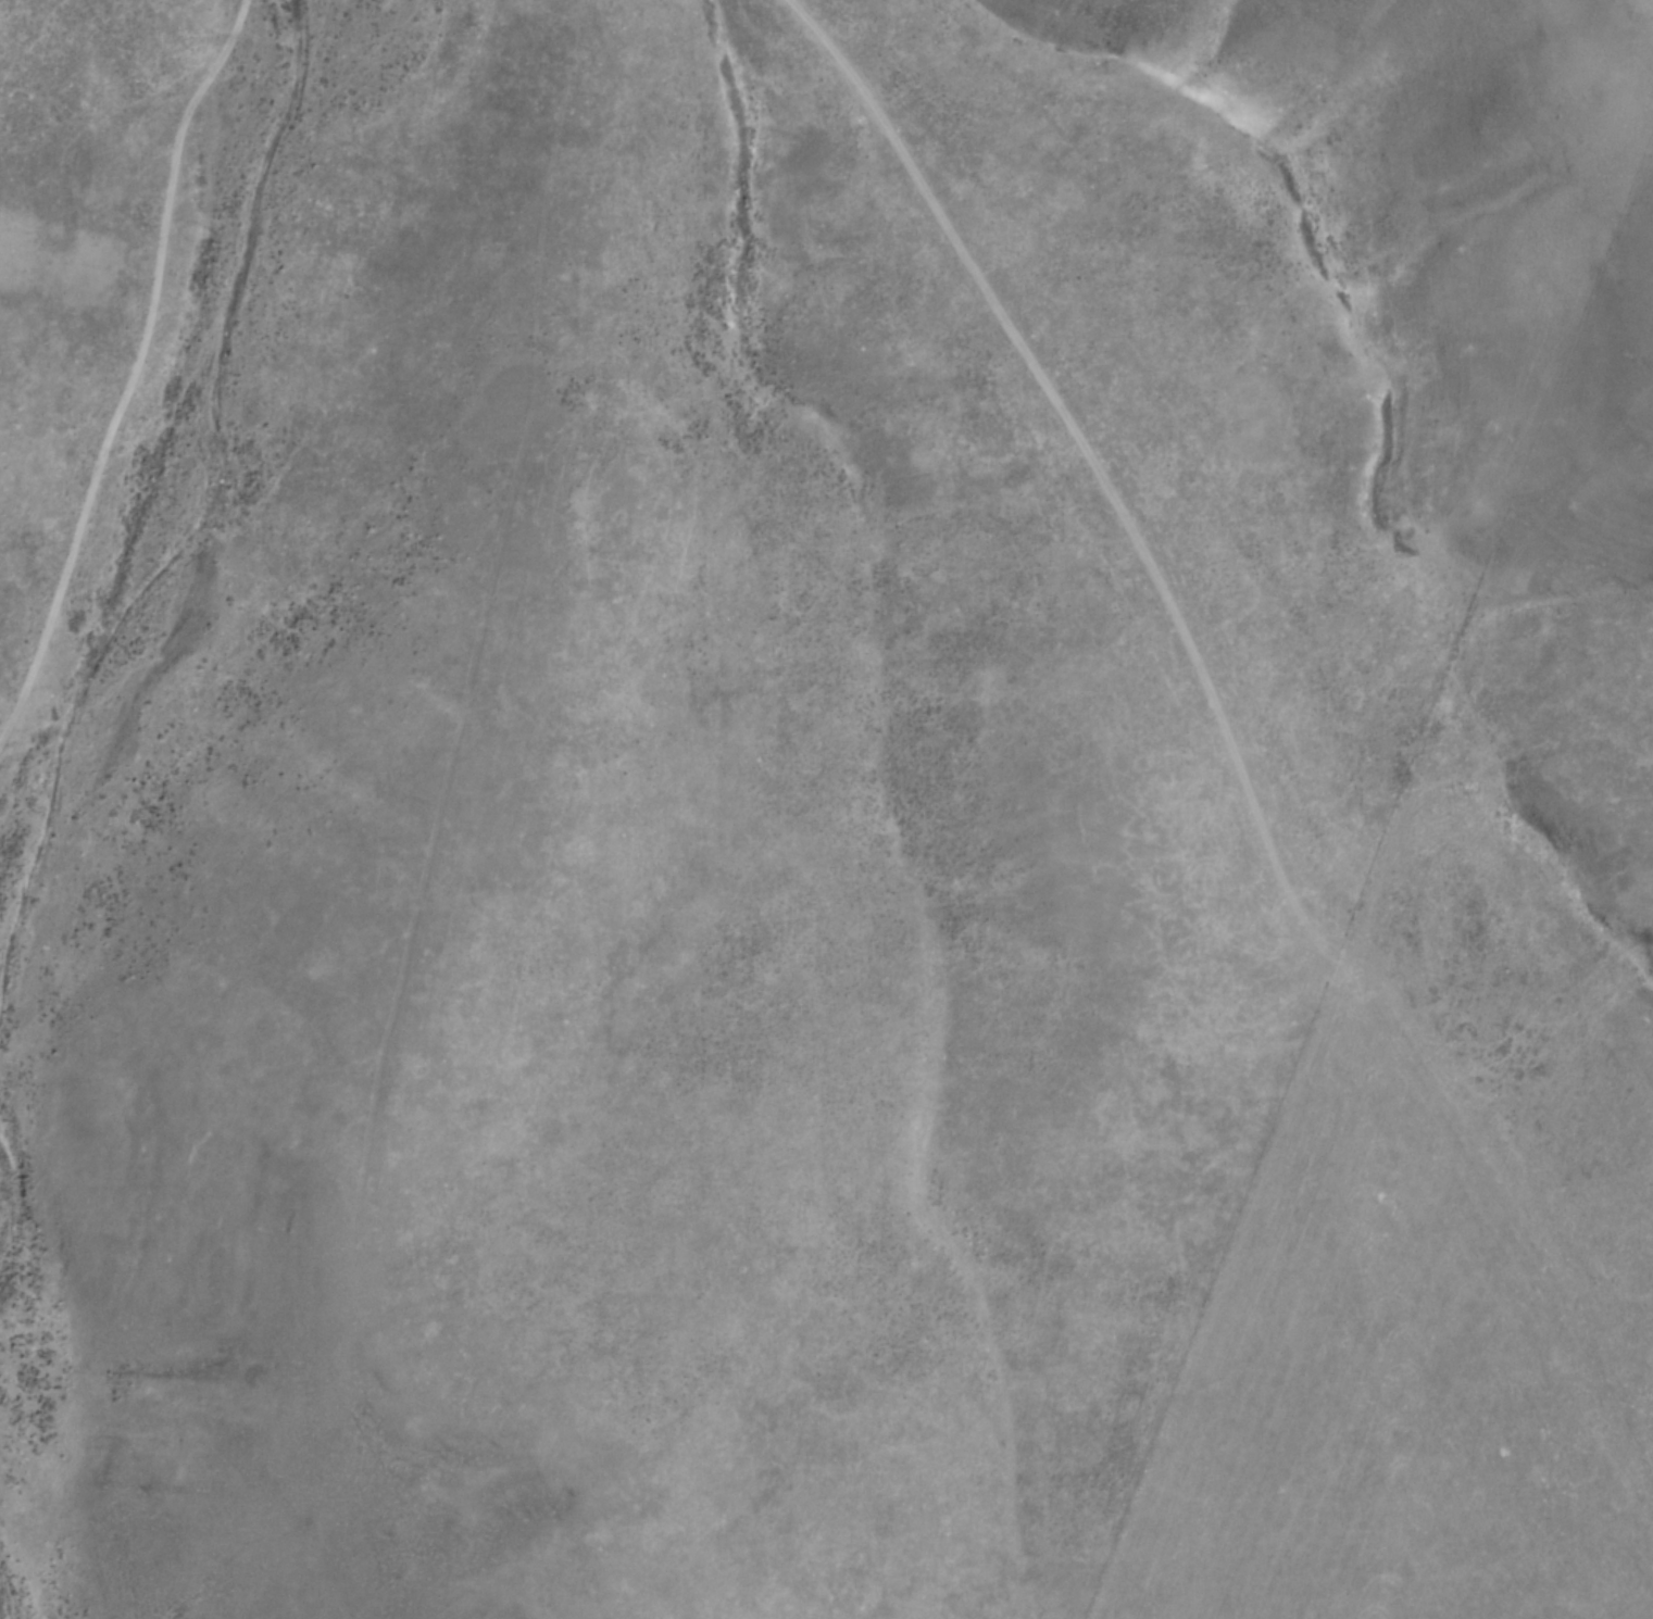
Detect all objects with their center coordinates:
road: (1307, 740)

